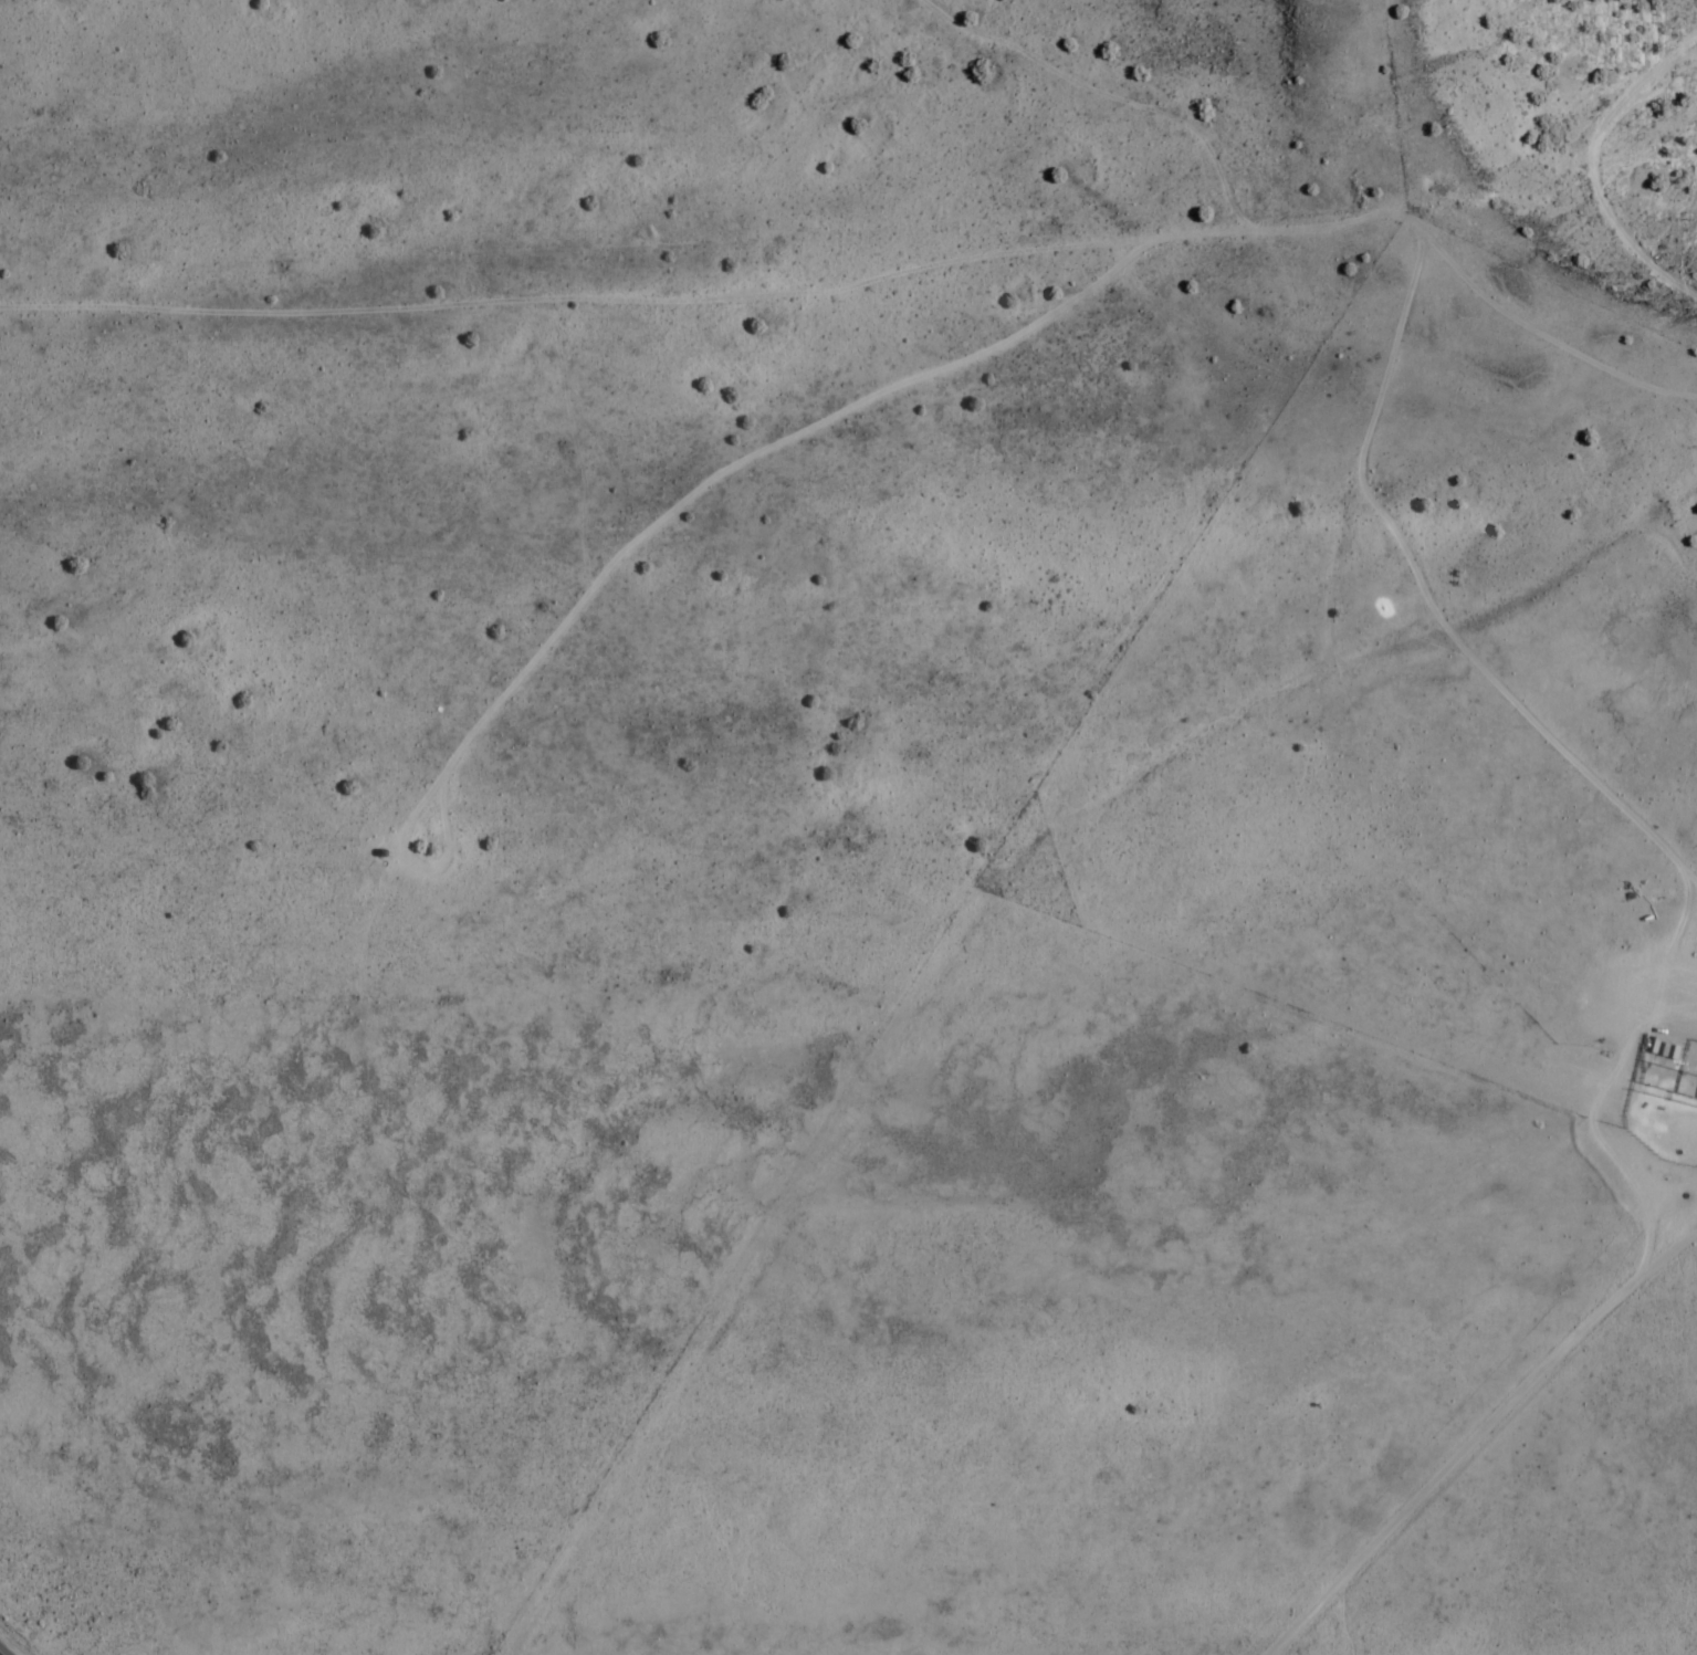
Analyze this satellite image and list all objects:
road: (1602, 164)
road: (746, 1264)
road: (1480, 1438)

